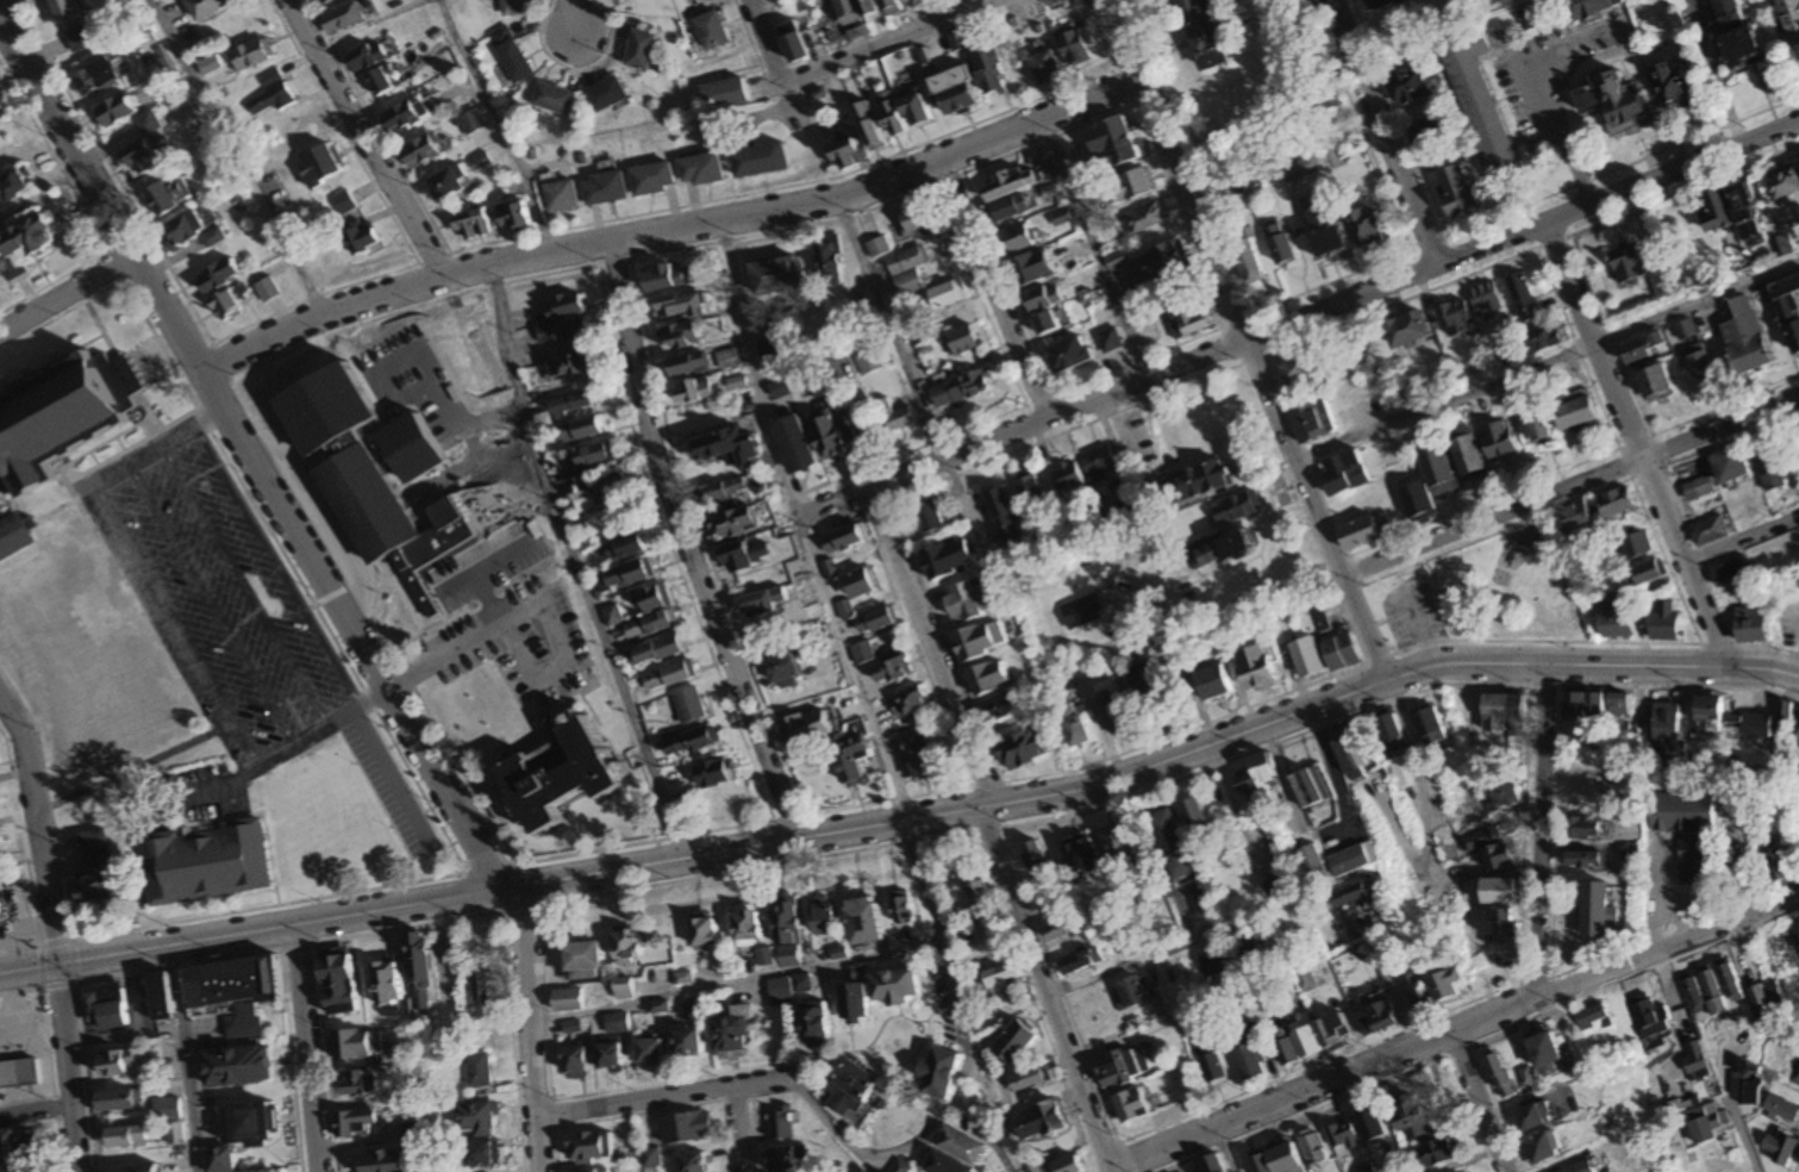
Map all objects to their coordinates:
road: (2, 1)
road: (945, 7)
road: (571, 18)
road: (882, 40)
road: (767, 42)
road: (1532, 93)
road: (1653, 93)
road: (501, 124)
road: (1404, 129)
road: (1382, 133)
road: (362, 139)
road: (1279, 154)
road: (237, 157)
road: (673, 231)
road: (1088, 250)
road: (992, 288)
road: (69, 294)
road: (1295, 297)
road: (1298, 319)
road: (1338, 325)
road: (891, 329)
road: (1241, 341)
road: (1545, 362)
road: (1584, 362)
road: (421, 364)
road: (488, 418)
road: (163, 443)
road: (1714, 444)
road: (1636, 445)
road: (1664, 469)
road: (1570, 488)
road: (802, 525)
road: (1741, 538)
road: (687, 544)
road: (981, 547)
road: (576, 566)
road: (276, 568)
road: (1398, 569)
road: (329, 576)
park: (1500, 582)
road: (243, 587)
road: (211, 606)
road: (544, 606)
parking lot: (1412, 613)
road: (1418, 629)
road: (185, 638)
road: (932, 648)
road: (1176, 655)
road: (344, 719)
road: (1414, 767)
road: (391, 784)
road: (906, 822)
road: (33, 829)
road: (1541, 830)
road: (1795, 867)
road: (1126, 964)
road: (733, 984)
road: (1047, 990)
building: (1616, 1015)
road: (1455, 1030)
road: (302, 1048)
building: (1572, 1053)
road: (185, 1058)
road: (963, 1066)
road: (64, 1067)
building: (1529, 1077)
road: (762, 1081)
road: (632, 1102)
road: (1478, 1102)
road: (33, 1111)
road: (735, 1129)
road: (1737, 1129)
road: (1225, 1149)
road: (1466, 1160)

